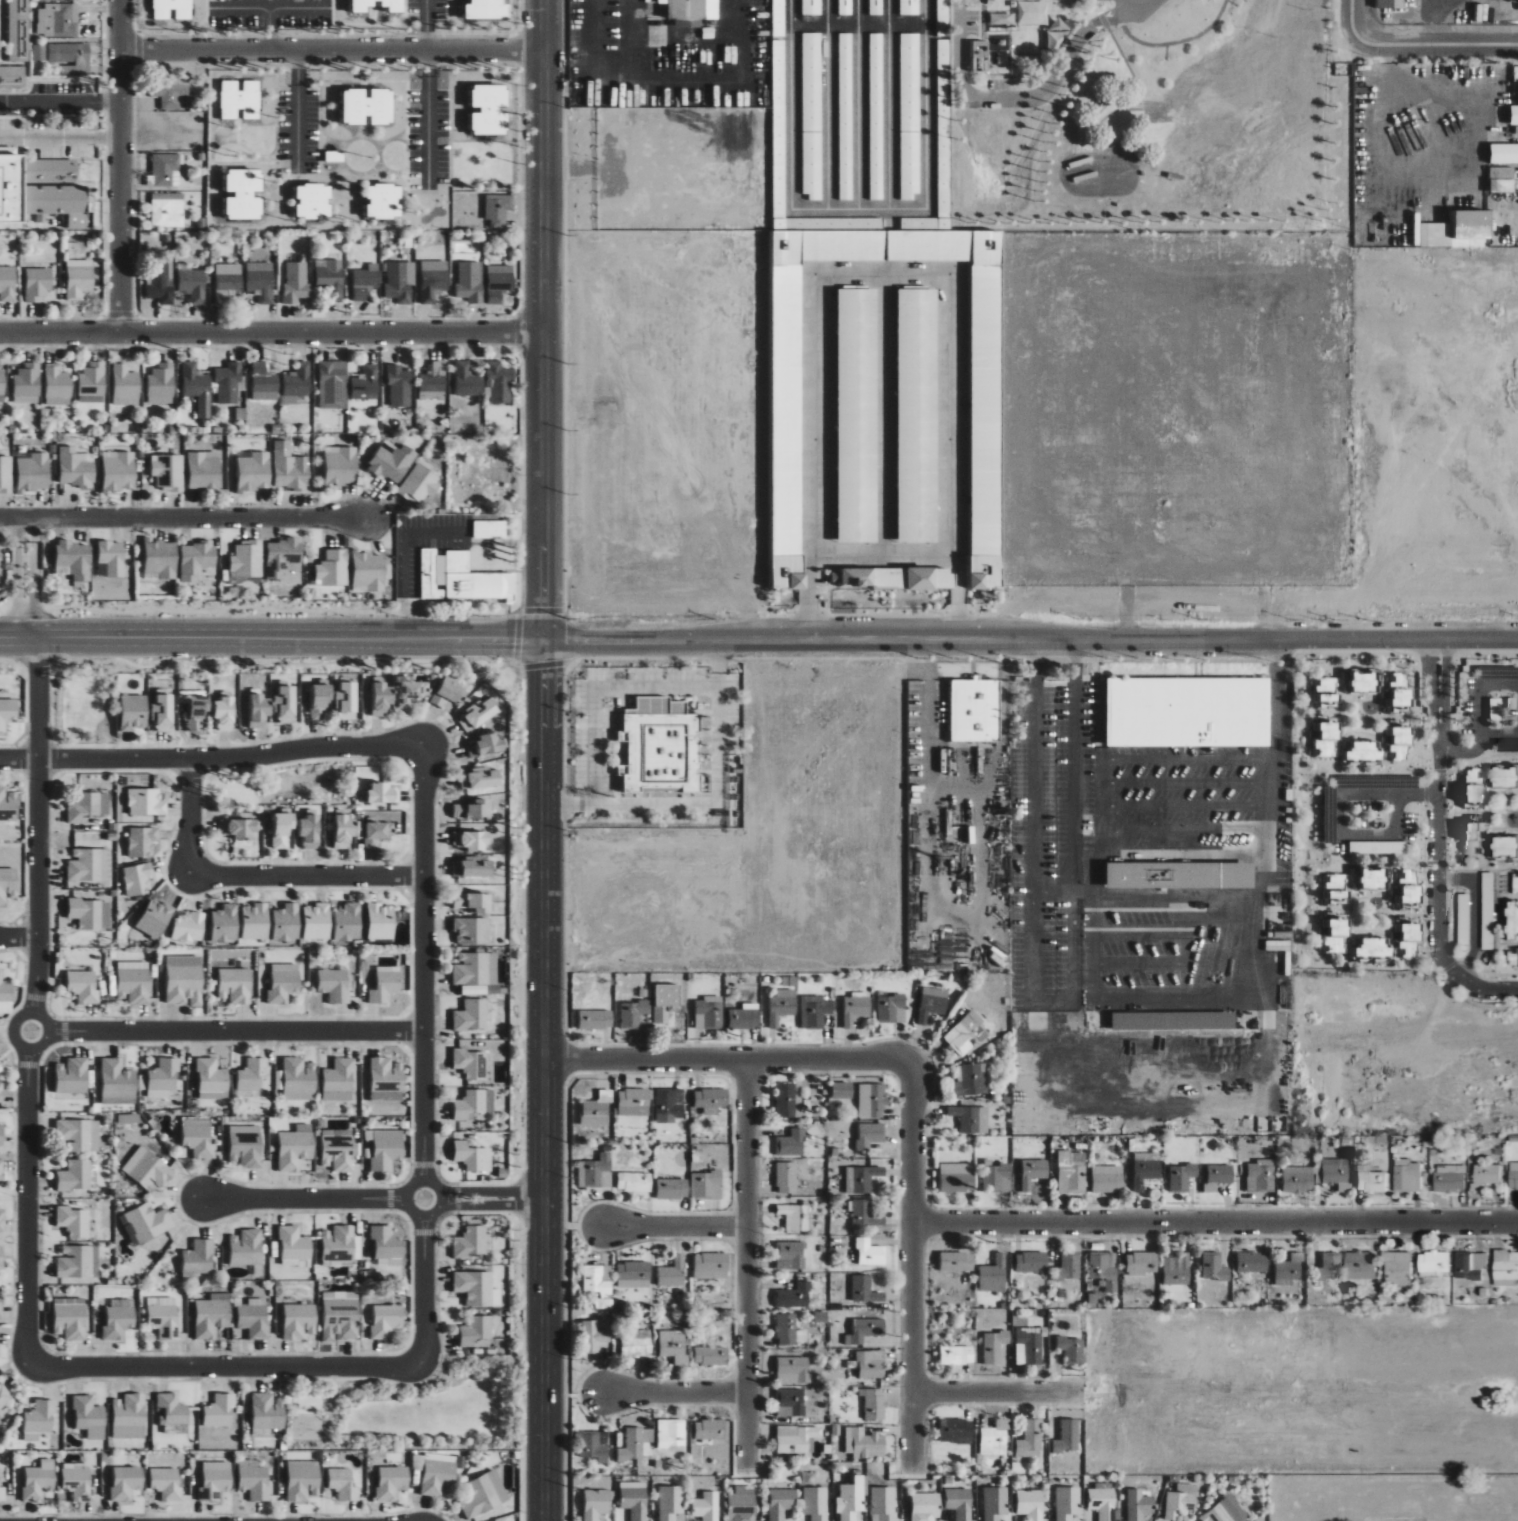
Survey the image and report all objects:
building: (1385, 4)
road: (1122, 5)
road: (269, 6)
building: (392, 6)
building: (811, 7)
building: (845, 7)
building: (876, 7)
building: (909, 7)
building: (173, 9)
building: (487, 9)
building: (692, 9)
road: (1349, 15)
building: (941, 17)
road: (713, 18)
building: (778, 18)
building: (58, 20)
road: (858, 23)
road: (268, 27)
building: (16, 29)
road: (1434, 32)
road: (707, 36)
road: (589, 47)
road: (328, 48)
building: (39, 52)
building: (942, 55)
building: (980, 56)
building: (70, 57)
road: (685, 82)
road: (427, 90)
building: (170, 91)
building: (1516, 93)
building: (240, 99)
road: (1030, 99)
road: (59, 101)
road: (297, 104)
road: (828, 104)
road: (858, 104)
road: (889, 104)
building: (368, 106)
building: (490, 109)
building: (1511, 115)
building: (812, 116)
building: (845, 116)
building: (876, 116)
building: (909, 116)
road: (59, 136)
building: (1501, 153)
building: (335, 156)
road: (118, 163)
building: (165, 170)
building: (1497, 180)
building: (41, 190)
building: (244, 194)
building: (314, 201)
building: (384, 201)
building: (167, 209)
building: (498, 209)
road: (859, 209)
building: (1446, 228)
road: (881, 276)
building: (331, 277)
building: (79, 278)
building: (433, 280)
building: (261, 281)
building: (365, 281)
building: (297, 282)
building: (398, 282)
building: (469, 282)
building: (498, 282)
building: (160, 283)
building: (8, 284)
building: (38, 284)
building: (193, 284)
building: (228, 286)
road: (533, 318)
road: (266, 327)
building: (467, 380)
building: (500, 381)
building: (2, 382)
building: (91, 382)
building: (264, 382)
building: (297, 382)
building: (433, 382)
building: (27, 383)
building: (227, 383)
building: (366, 383)
building: (161, 384)
building: (332, 384)
building: (57, 385)
building: (125, 386)
building: (400, 386)
building: (196, 387)
road: (880, 413)
building: (858, 415)
building: (918, 415)
building: (987, 425)
building: (392, 462)
building: (341, 466)
building: (74, 468)
building: (205, 470)
building: (119, 471)
building: (254, 471)
building: (168, 472)
building: (290, 472)
building: (33, 473)
building: (6, 474)
building: (420, 485)
road: (183, 517)
building: (490, 529)
road: (882, 550)
building: (282, 556)
building: (112, 558)
building: (161, 559)
building: (196, 559)
building: (247, 560)
building: (74, 561)
road: (403, 563)
building: (334, 568)
building: (370, 570)
road: (29, 577)
building: (873, 577)
building: (931, 578)
building: (463, 579)
road: (759, 638)
building: (1358, 681)
building: (1394, 689)
building: (411, 691)
building: (1321, 691)
road: (1482, 692)
building: (448, 694)
building: (381, 697)
building: (346, 700)
building: (320, 701)
road: (1277, 701)
building: (285, 704)
building: (258, 708)
building: (1492, 709)
road: (925, 710)
building: (975, 710)
building: (8, 712)
building: (133, 712)
building: (198, 712)
building: (1188, 712)
building: (162, 713)
building: (224, 713)
building: (478, 714)
road: (1500, 734)
building: (1321, 738)
building: (1394, 742)
building: (486, 746)
building: (661, 746)
building: (1358, 750)
road: (1465, 751)
road: (213, 757)
road: (1184, 759)
building: (1502, 776)
building: (483, 778)
road: (1184, 783)
building: (1469, 787)
building: (383, 793)
building: (146, 802)
road: (705, 802)
road: (1185, 804)
building: (8, 805)
building: (89, 806)
building: (474, 810)
road: (1265, 811)
road: (1339, 812)
building: (1326, 814)
building: (239, 828)
building: (283, 829)
road: (1185, 829)
building: (309, 831)
building: (344, 831)
building: (378, 833)
building: (1469, 836)
building: (142, 841)
building: (472, 841)
road: (1438, 843)
building: (1504, 846)
building: (89, 865)
building: (473, 867)
building: (1181, 875)
road: (245, 876)
building: (1364, 878)
building: (138, 879)
building: (8, 884)
building: (1404, 888)
road: (1082, 889)
building: (1331, 889)
road: (1054, 890)
road: (1173, 896)
building: (473, 902)
road: (1475, 910)
building: (91, 914)
building: (155, 918)
building: (1511, 920)
building: (317, 921)
building: (256, 922)
building: (348, 922)
building: (380, 922)
building: (287, 923)
building: (225, 924)
road: (1091, 924)
building: (189, 927)
building: (472, 931)
road: (1139, 932)
building: (1331, 935)
building: (1463, 935)
road: (20, 937)
building: (1403, 938)
building: (1368, 947)
building: (1512, 957)
road: (1139, 963)
building: (475, 971)
building: (185, 980)
building: (789, 981)
building: (283, 982)
building: (134, 985)
building: (335, 985)
building: (385, 985)
building: (235, 986)
building: (84, 987)
building: (668, 995)
building: (6, 997)
road: (1210, 998)
road: (36, 999)
road: (1053, 1000)
building: (933, 1003)
building: (781, 1006)
building: (856, 1009)
building: (891, 1009)
building: (814, 1011)
building: (709, 1012)
building: (633, 1014)
building: (472, 1016)
building: (744, 1019)
building: (596, 1020)
building: (1171, 1021)
road: (226, 1031)
building: (966, 1034)
road: (422, 1053)
building: (470, 1063)
road: (731, 1064)
building: (252, 1074)
building: (72, 1076)
building: (163, 1078)
building: (299, 1079)
road: (538, 1079)
building: (212, 1080)
building: (339, 1080)
building: (387, 1080)
building: (971, 1080)
building: (117, 1083)
building: (842, 1090)
building: (1, 1092)
building: (711, 1100)
building: (789, 1100)
building: (872, 1100)
building: (635, 1102)
building: (670, 1103)
building: (474, 1104)
building: (598, 1106)
building: (972, 1119)
building: (1, 1135)
building: (79, 1135)
building: (870, 1135)
building: (198, 1140)
building: (791, 1144)
building: (295, 1147)
building: (246, 1149)
building: (386, 1149)
building: (338, 1152)
building: (473, 1159)
building: (148, 1169)
building: (1146, 1169)
building: (1, 1170)
building: (596, 1172)
building: (1332, 1172)
building: (1033, 1173)
building: (1072, 1174)
building: (75, 1175)
building: (1215, 1176)
building: (1257, 1176)
building: (1405, 1176)
building: (1484, 1176)
building: (1513, 1176)
building: (957, 1177)
building: (1180, 1177)
building: (787, 1178)
building: (997, 1178)
building: (1294, 1178)
building: (1448, 1178)
building: (862, 1179)
building: (1107, 1179)
building: (634, 1182)
building: (1370, 1182)
building: (707, 1185)
building: (673, 1189)
road: (370, 1197)
building: (866, 1214)
building: (791, 1216)
building: (1, 1221)
road: (668, 1221)
building: (74, 1222)
building: (146, 1223)
road: (1214, 1225)
building: (471, 1242)
building: (338, 1244)
building: (387, 1246)
building: (294, 1247)
building: (247, 1248)
building: (870, 1253)
building: (1, 1255)
building: (790, 1255)
building: (198, 1259)
building: (79, 1262)
building: (957, 1262)
building: (1032, 1262)
building: (1248, 1262)
building: (1140, 1263)
building: (1433, 1264)
road: (743, 1265)
building: (1469, 1265)
building: (712, 1266)
building: (1358, 1266)
building: (1068, 1267)
building: (1211, 1267)
building: (1325, 1267)
building: (1505, 1268)
building: (1173, 1269)
building: (1396, 1269)
building: (1104, 1270)
building: (1285, 1270)
building: (673, 1273)
building: (634, 1275)
building: (994, 1275)
building: (599, 1284)
road: (911, 1287)
building: (475, 1288)
building: (866, 1290)
building: (795, 1296)
building: (1, 1307)
building: (212, 1316)
building: (340, 1316)
building: (163, 1317)
building: (254, 1318)
building: (119, 1319)
building: (71, 1321)
building: (299, 1321)
building: (386, 1321)
building: (476, 1331)
building: (789, 1331)
building: (865, 1331)
building: (594, 1337)
building: (637, 1343)
building: (673, 1346)
building: (995, 1346)
building: (1028, 1346)
building: (1071, 1350)
building: (711, 1355)
building: (957, 1355)
building: (871, 1364)
road: (225, 1368)
building: (793, 1370)
road: (1214, 1389)
road: (668, 1400)
building: (790, 1403)
building: (874, 1403)
building: (4, 1411)
building: (220, 1411)
building: (174, 1413)
building: (267, 1413)
building: (129, 1416)
building: (89, 1417)
building: (39, 1420)
building: (710, 1429)
building: (956, 1431)
building: (671, 1433)
building: (1068, 1436)
building: (796, 1437)
building: (994, 1438)
building: (1030, 1439)
building: (864, 1443)
building: (595, 1445)
building: (632, 1445)
building: (435, 1473)
building: (39, 1479)
building: (254, 1479)
building: (215, 1480)
building: (303, 1480)
building: (77, 1481)
building: (126, 1482)
building: (391, 1482)
building: (167, 1483)
building: (343, 1484)
building: (3, 1493)
building: (484, 1494)
building: (634, 1499)
building: (1177, 1501)
building: (670, 1502)
building: (596, 1503)
building: (781, 1503)
building: (816, 1503)
building: (882, 1503)
building: (959, 1503)
building: (995, 1503)
building: (1067, 1503)
building: (1102, 1503)
building: (742, 1504)
building: (1030, 1504)
building: (1137, 1505)
building: (706, 1506)
building: (925, 1506)
building: (1221, 1512)

